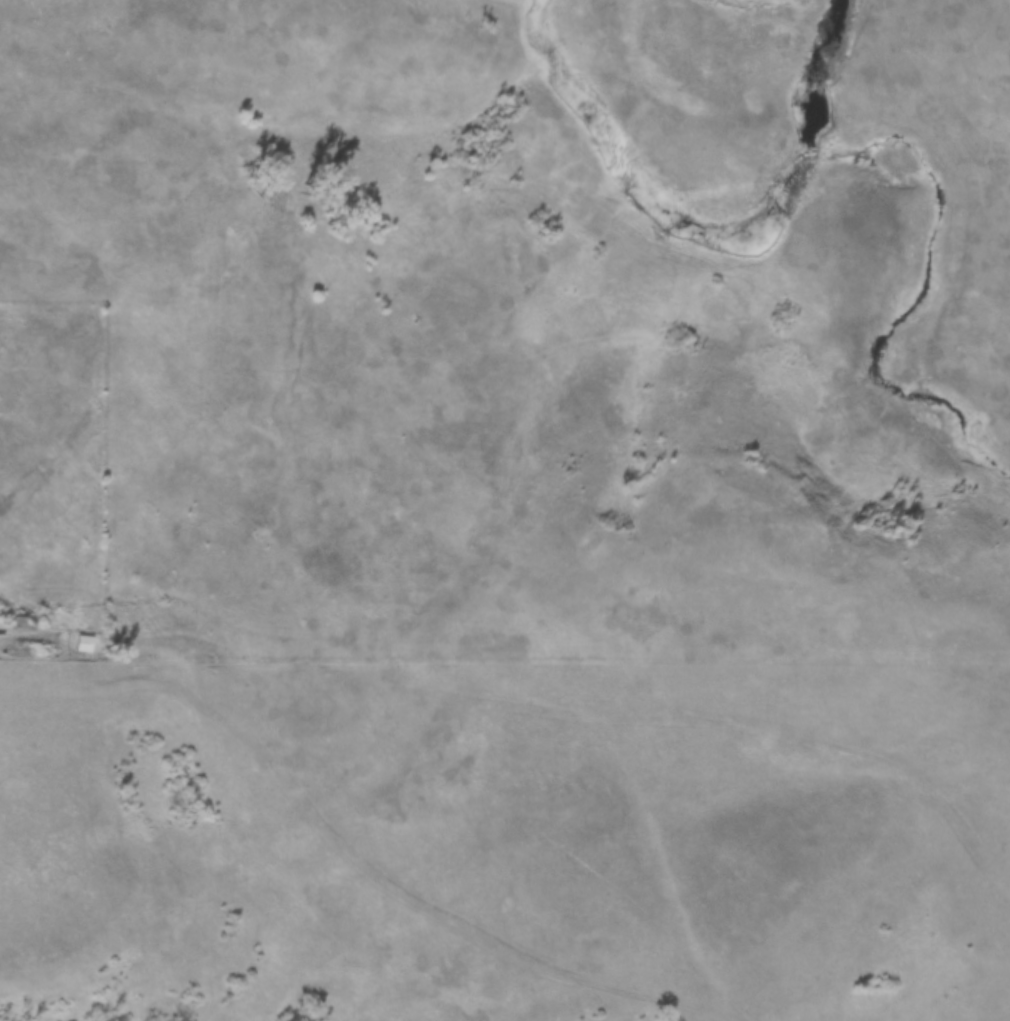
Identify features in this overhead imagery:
road: (342, 841)

